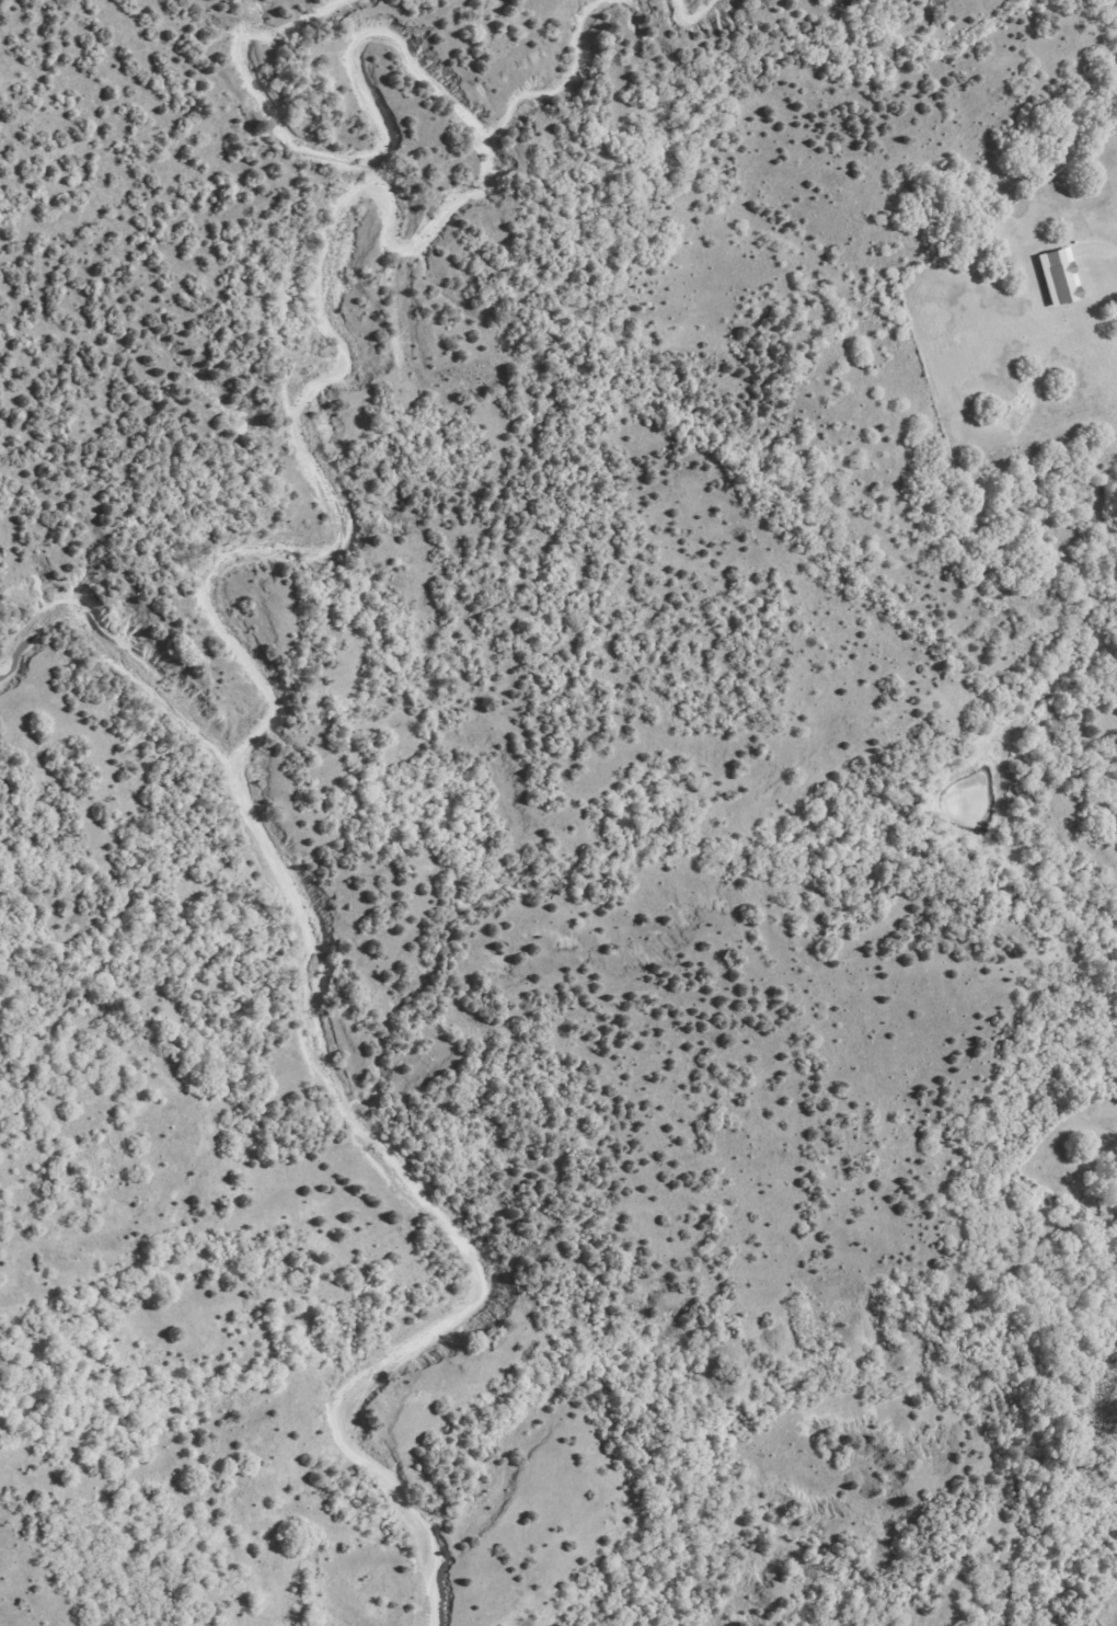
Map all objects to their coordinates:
road: (1106, 254)

